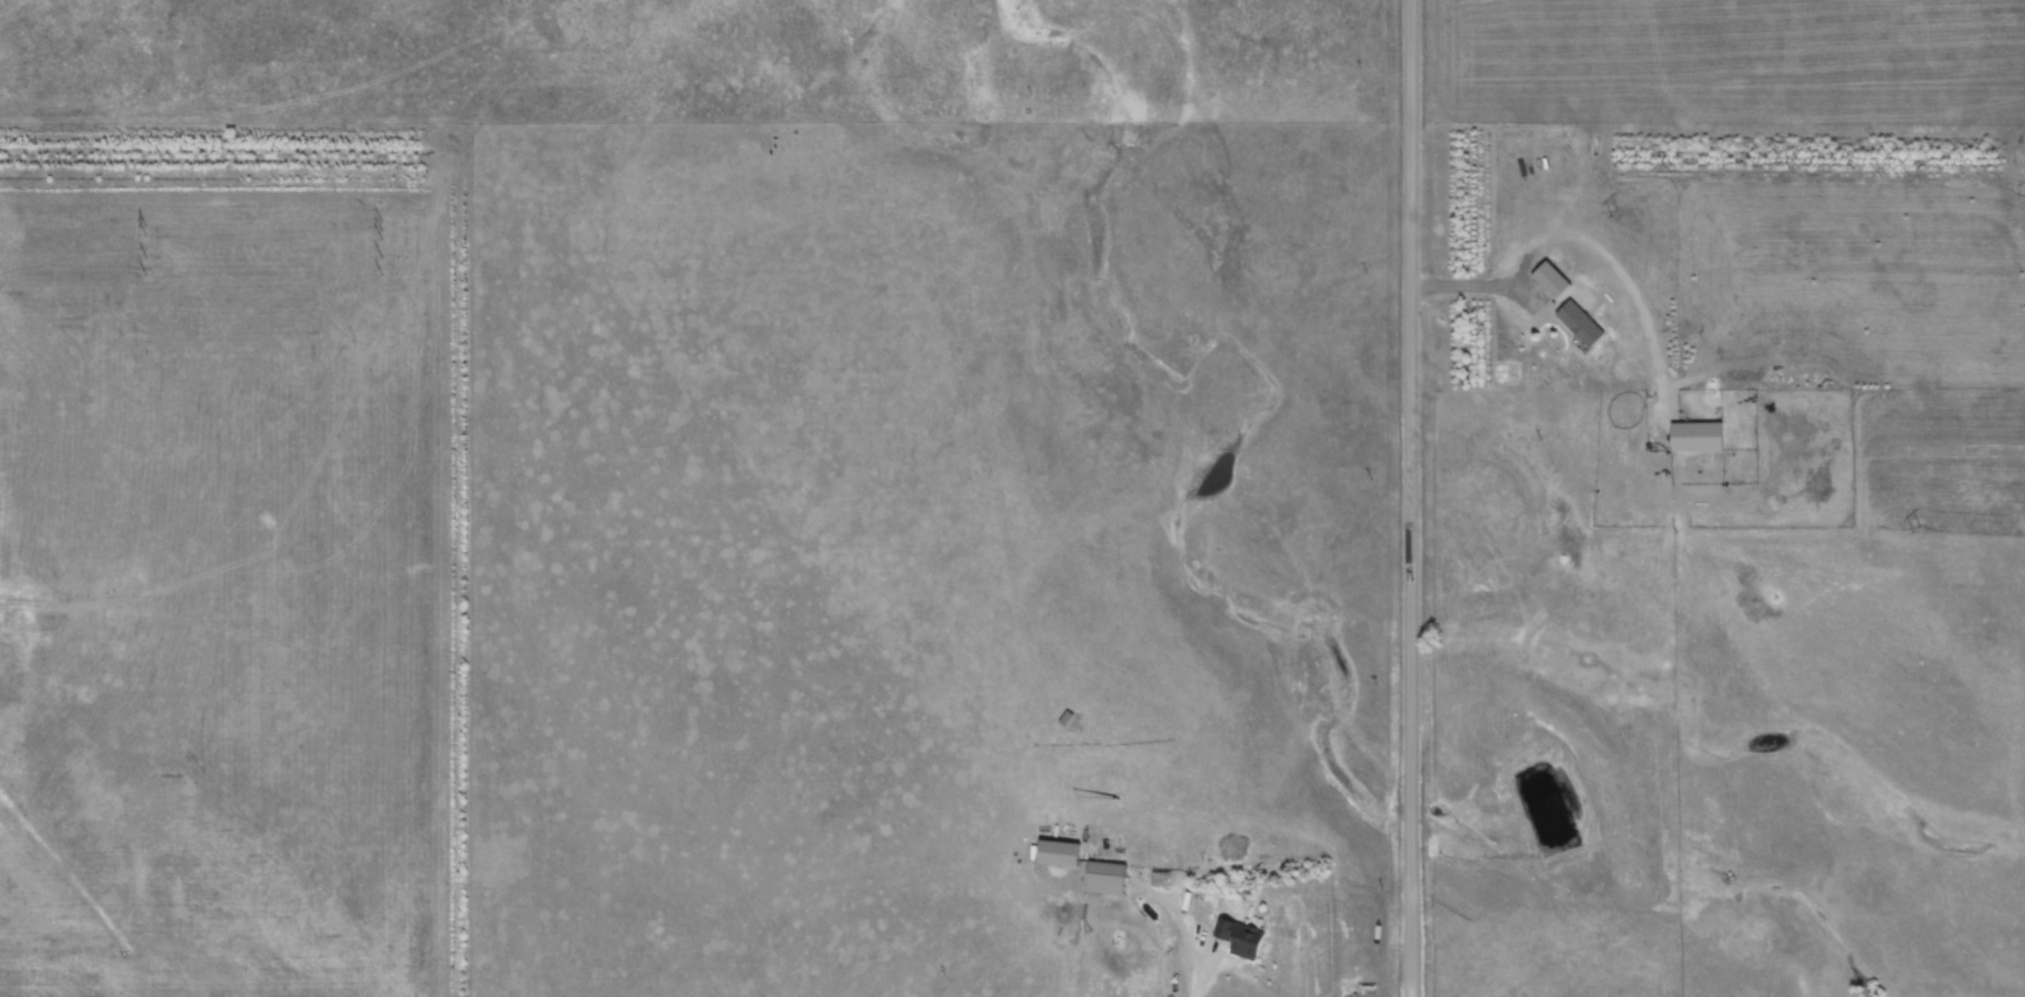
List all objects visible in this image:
power tower: (1614, 214)
building: (1544, 274)
building: (1581, 323)
building: (1689, 430)
road: (1410, 498)
power tower: (1915, 530)
wind turbine: (1109, 791)
building: (1049, 846)
building: (1098, 868)
building: (1243, 937)

